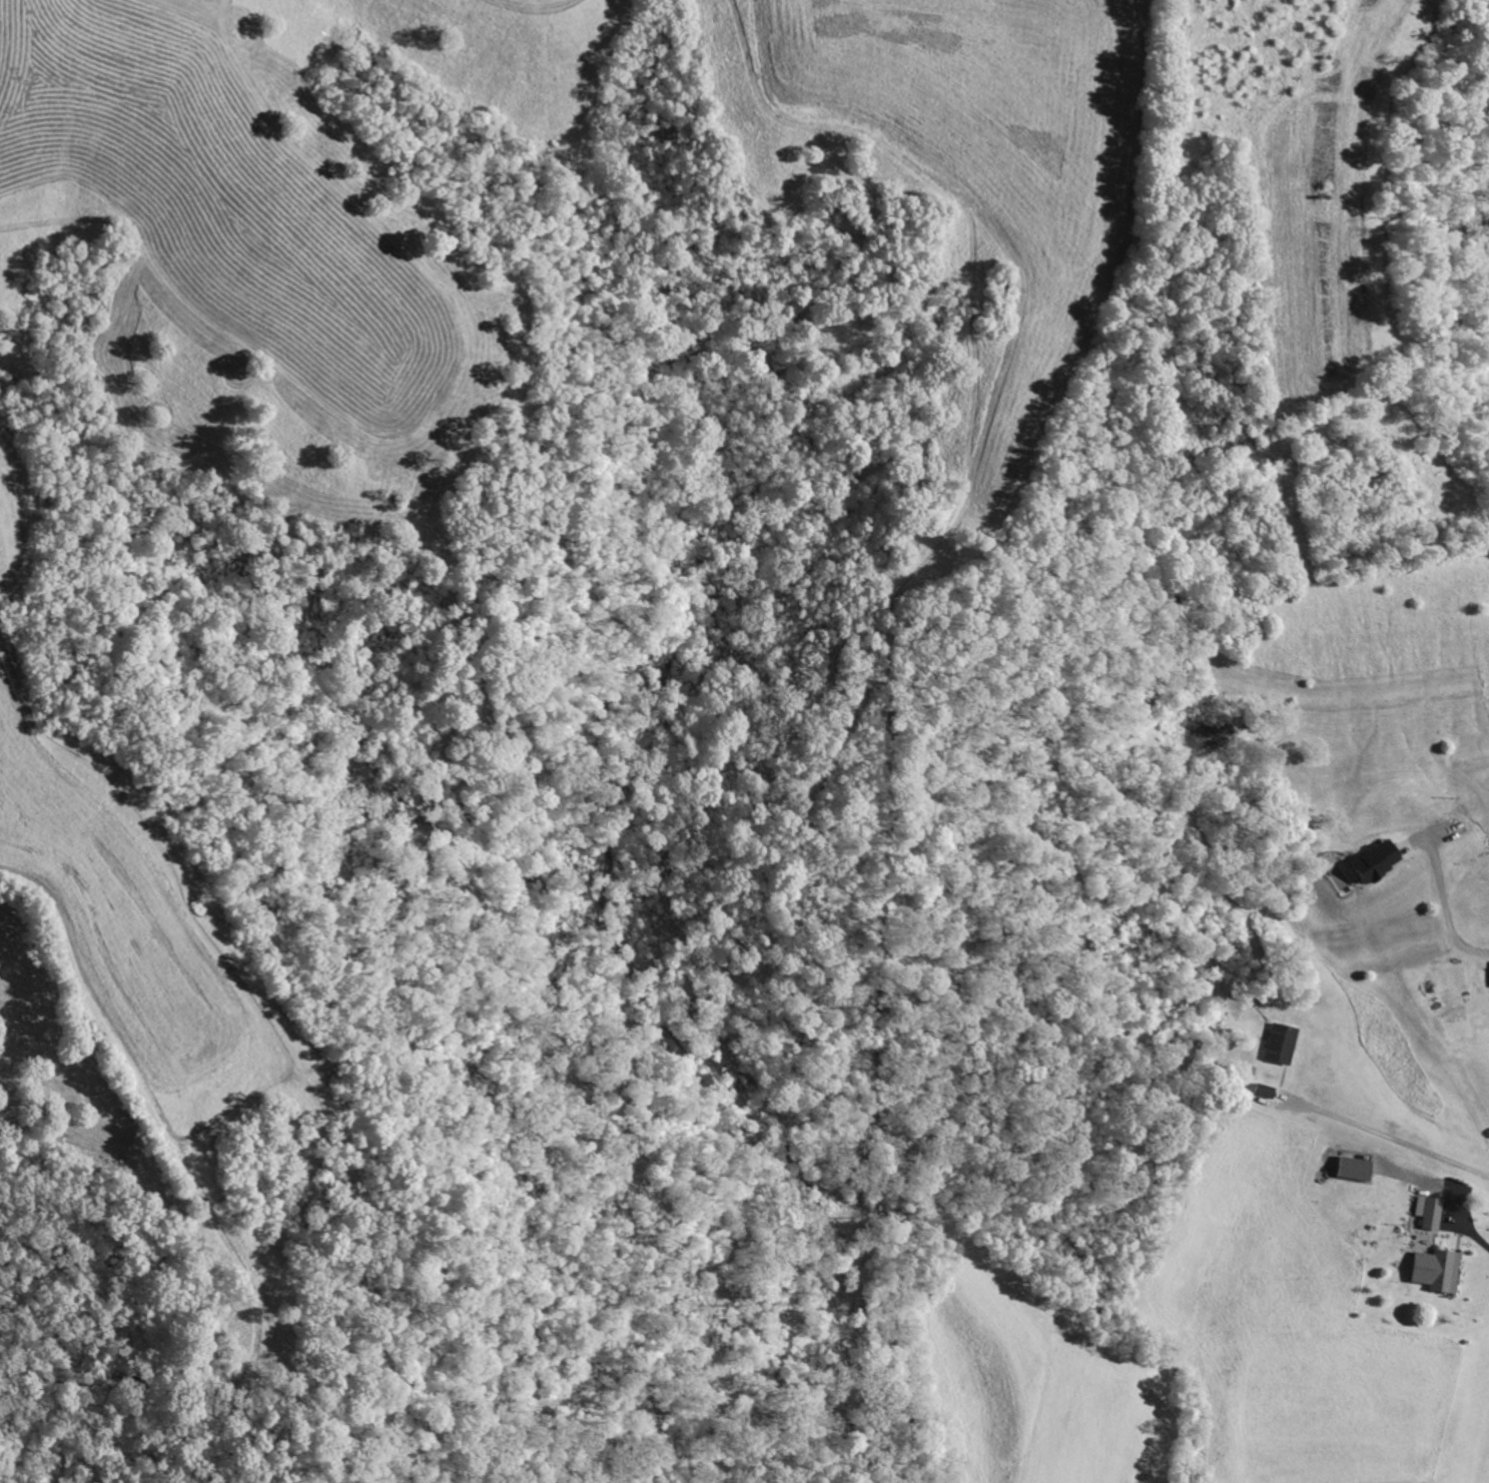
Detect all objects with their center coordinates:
building: (1375, 861)
road: (1445, 912)
building: (1280, 1044)
building: (1264, 1090)
road: (1380, 1134)
building: (1354, 1168)
road: (1448, 1185)
building: (1430, 1213)
building: (1446, 1273)

